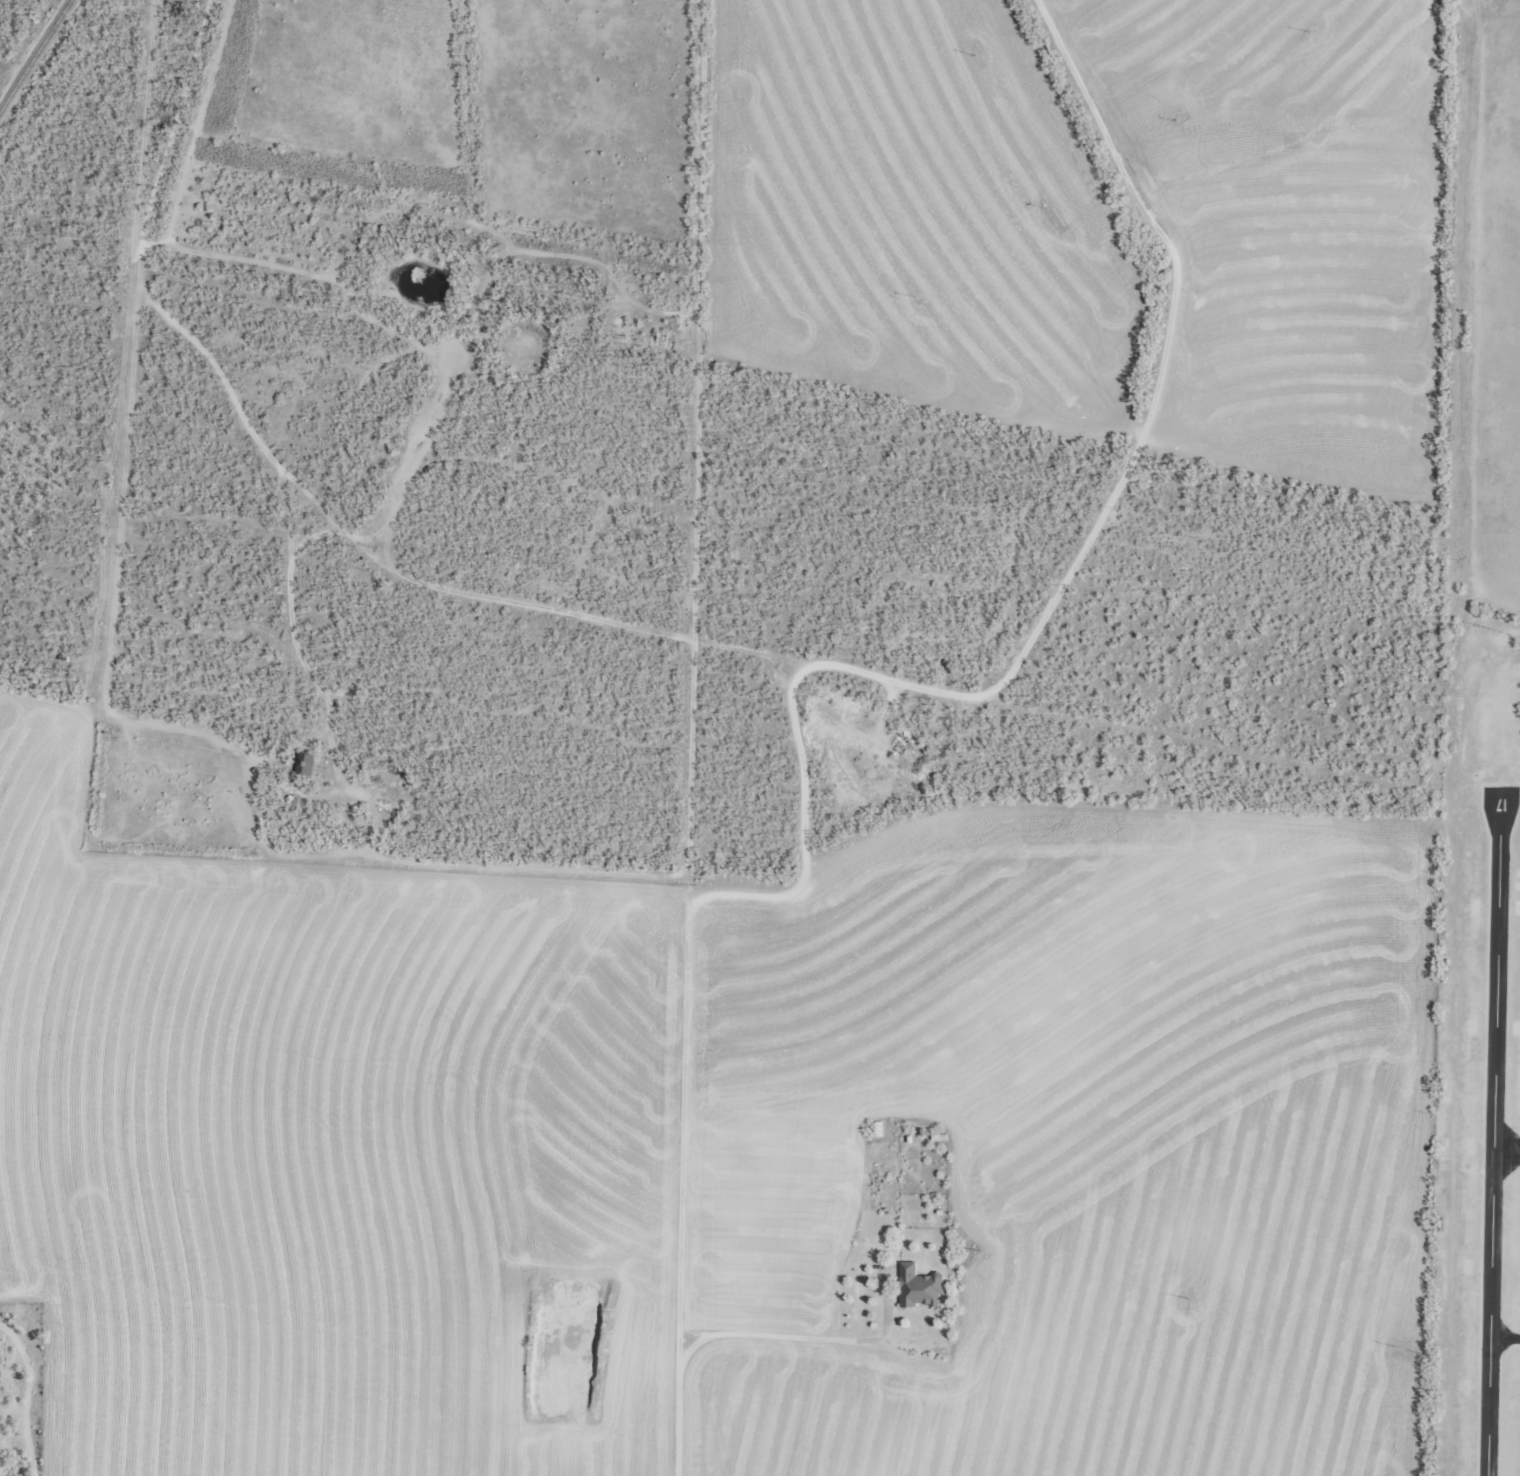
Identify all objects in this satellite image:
railway: (34, 53)
road: (695, 320)
road: (1483, 320)
road: (1160, 358)
road: (550, 611)
building: (305, 764)
airport: (1480, 1064)
airport runway: (1491, 1132)
building: (918, 1287)

